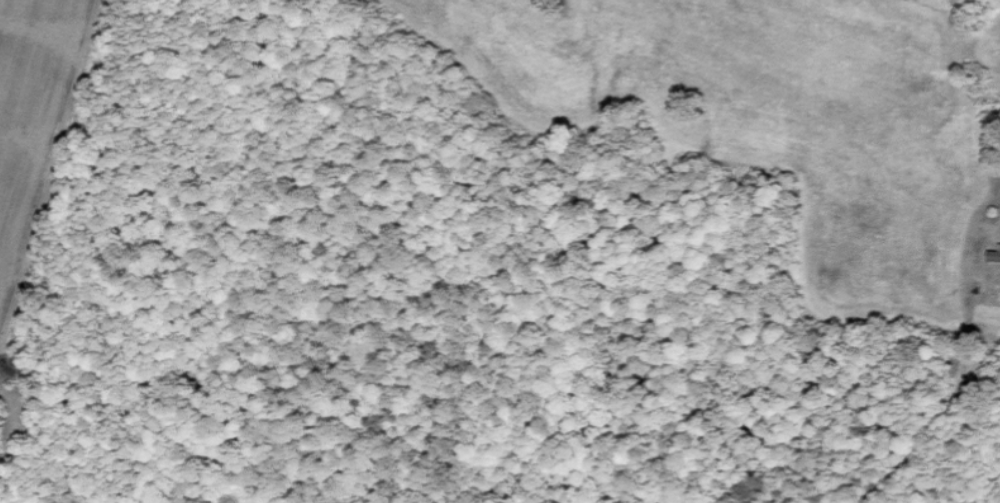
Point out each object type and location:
road: (53, 185)
building: (993, 255)

